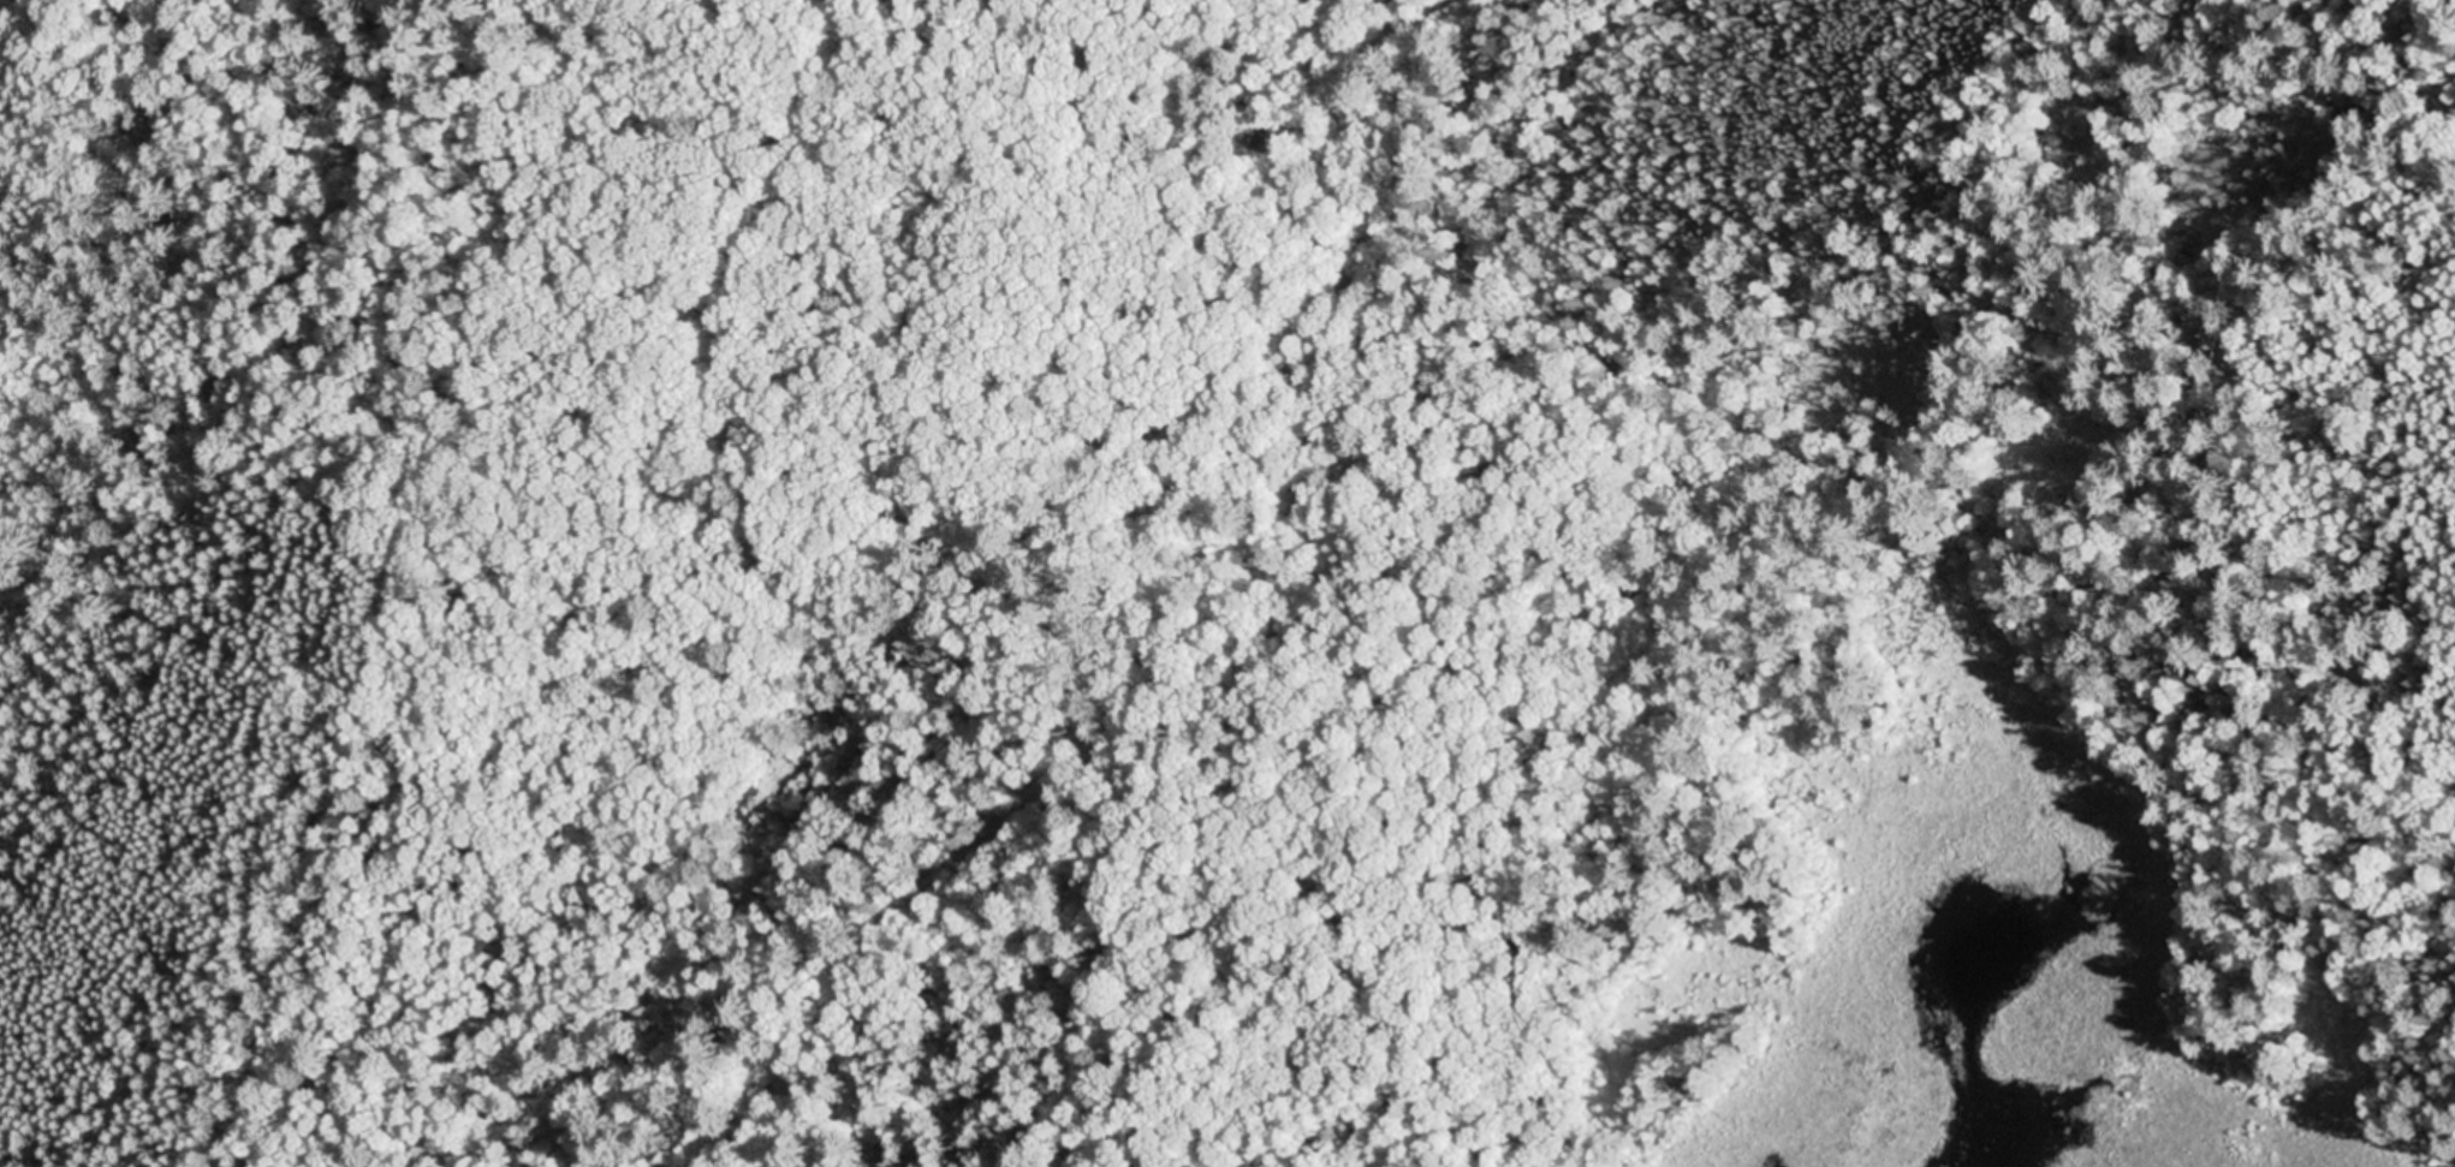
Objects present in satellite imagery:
road: (11, 31)
road: (1349, 36)
road: (1303, 40)
road: (1396, 54)
building: (1335, 100)
building: (1249, 129)
road: (977, 162)
road: (1704, 621)
road: (1203, 655)
road: (10, 755)
road: (875, 1076)
road: (38, 1162)

